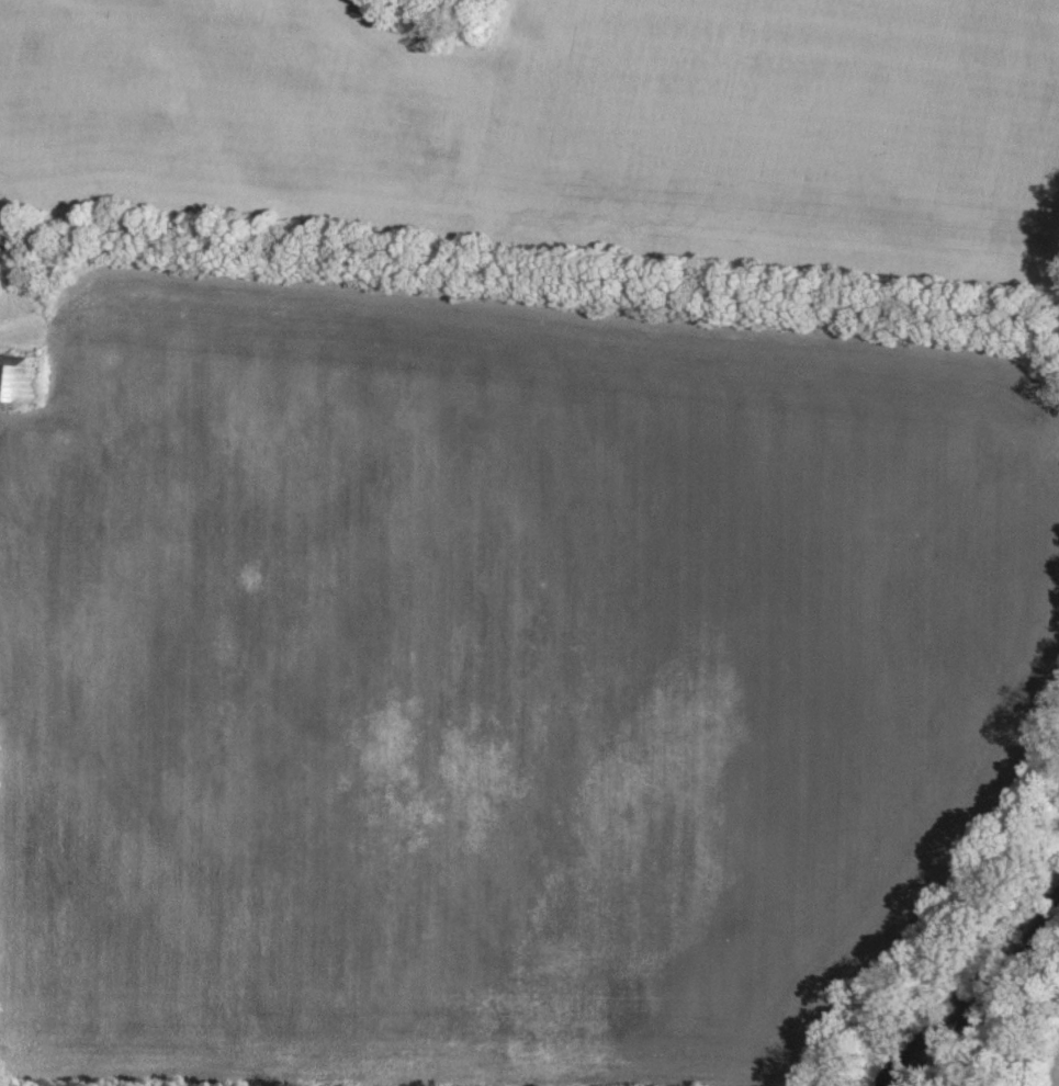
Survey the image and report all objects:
building: (19, 377)

